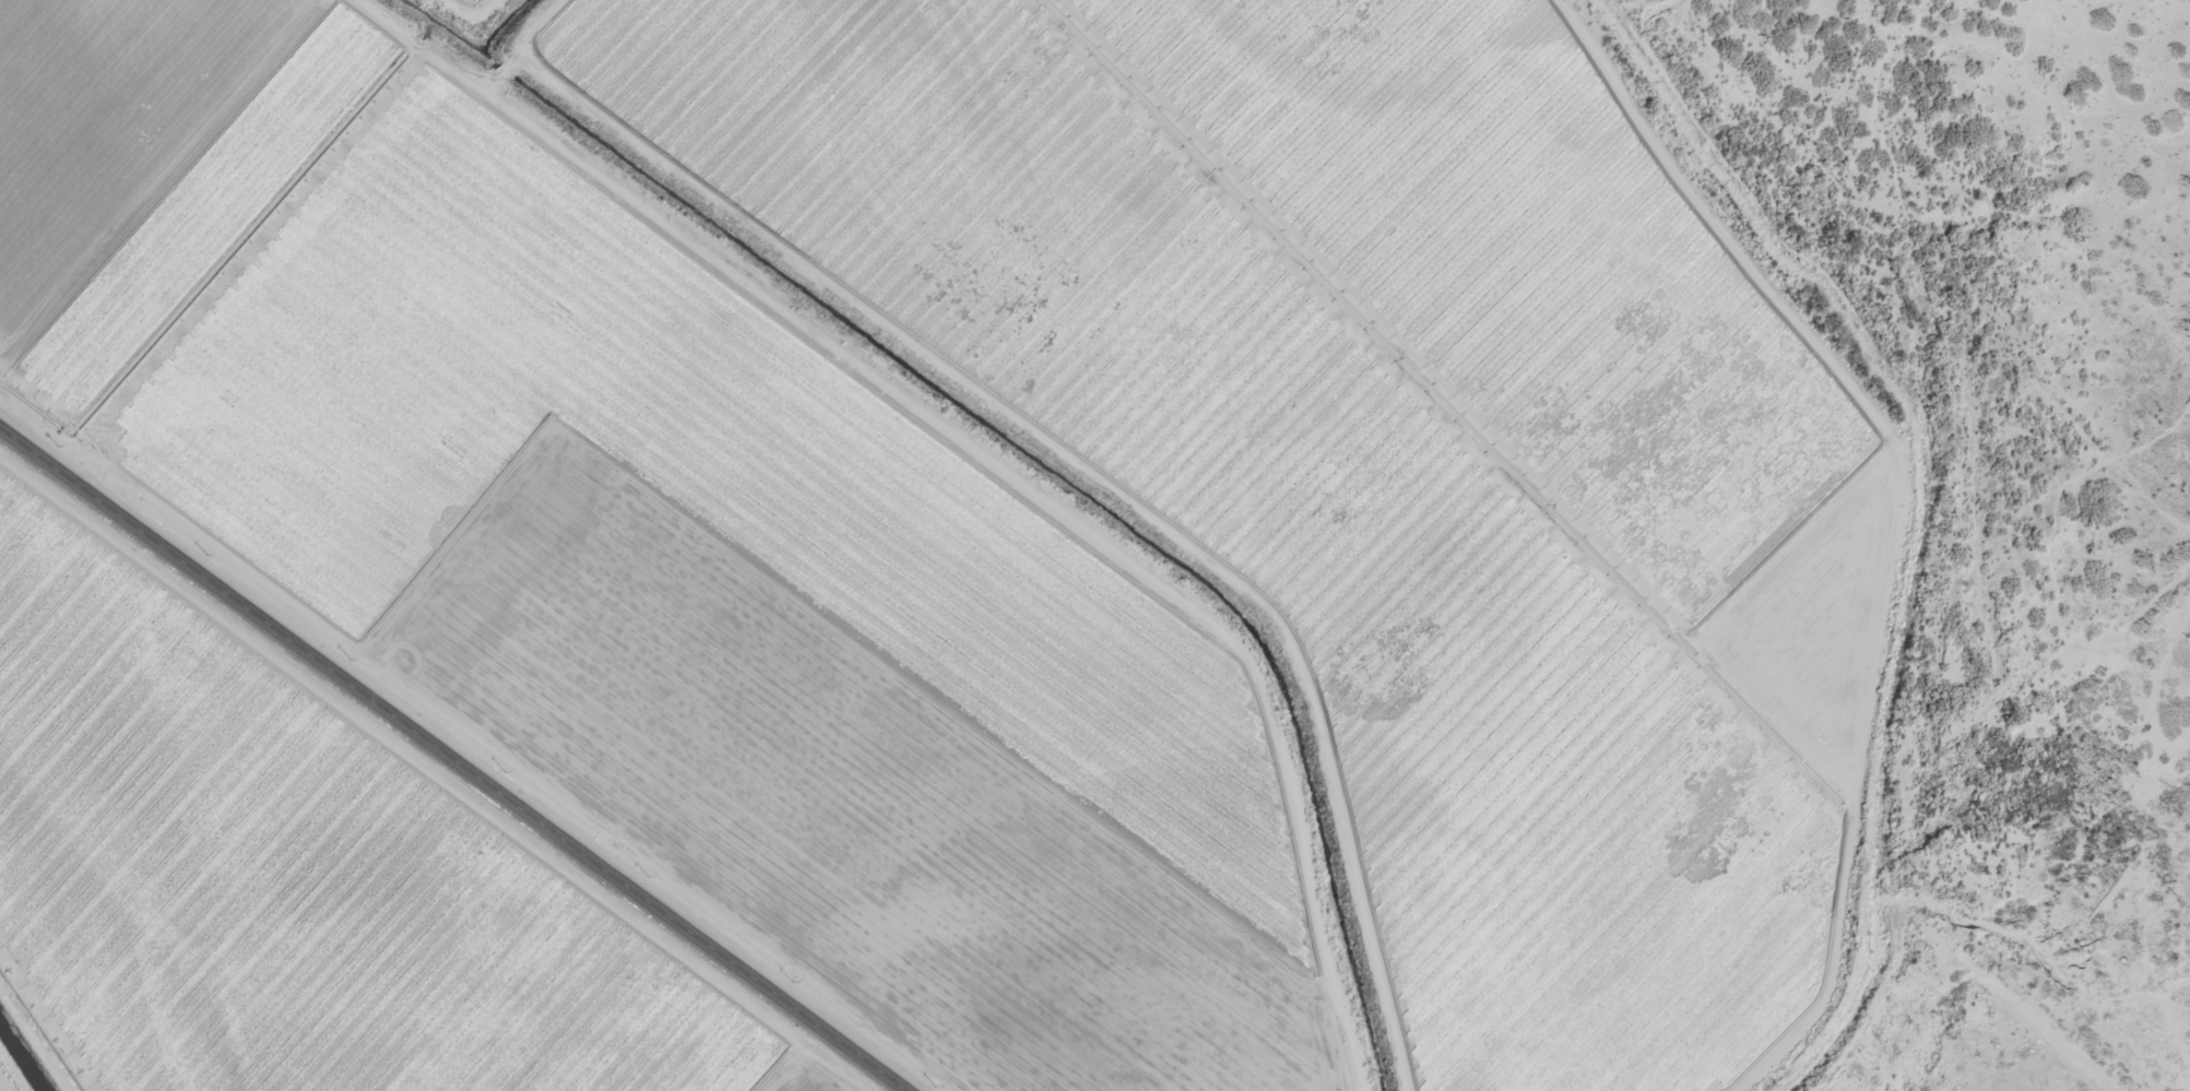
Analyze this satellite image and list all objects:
road: (454, 758)
road: (2049, 1040)

